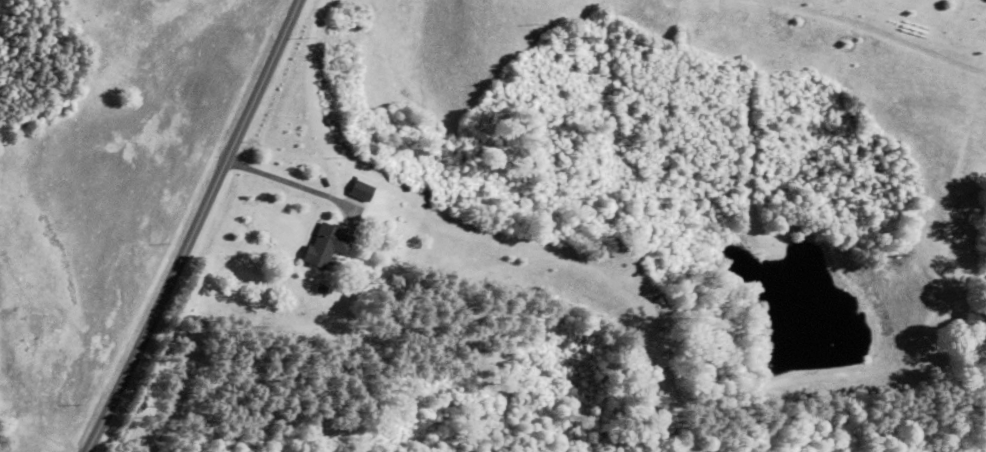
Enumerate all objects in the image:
building: (357, 190)
road: (202, 230)
building: (324, 245)
road: (60, 382)

